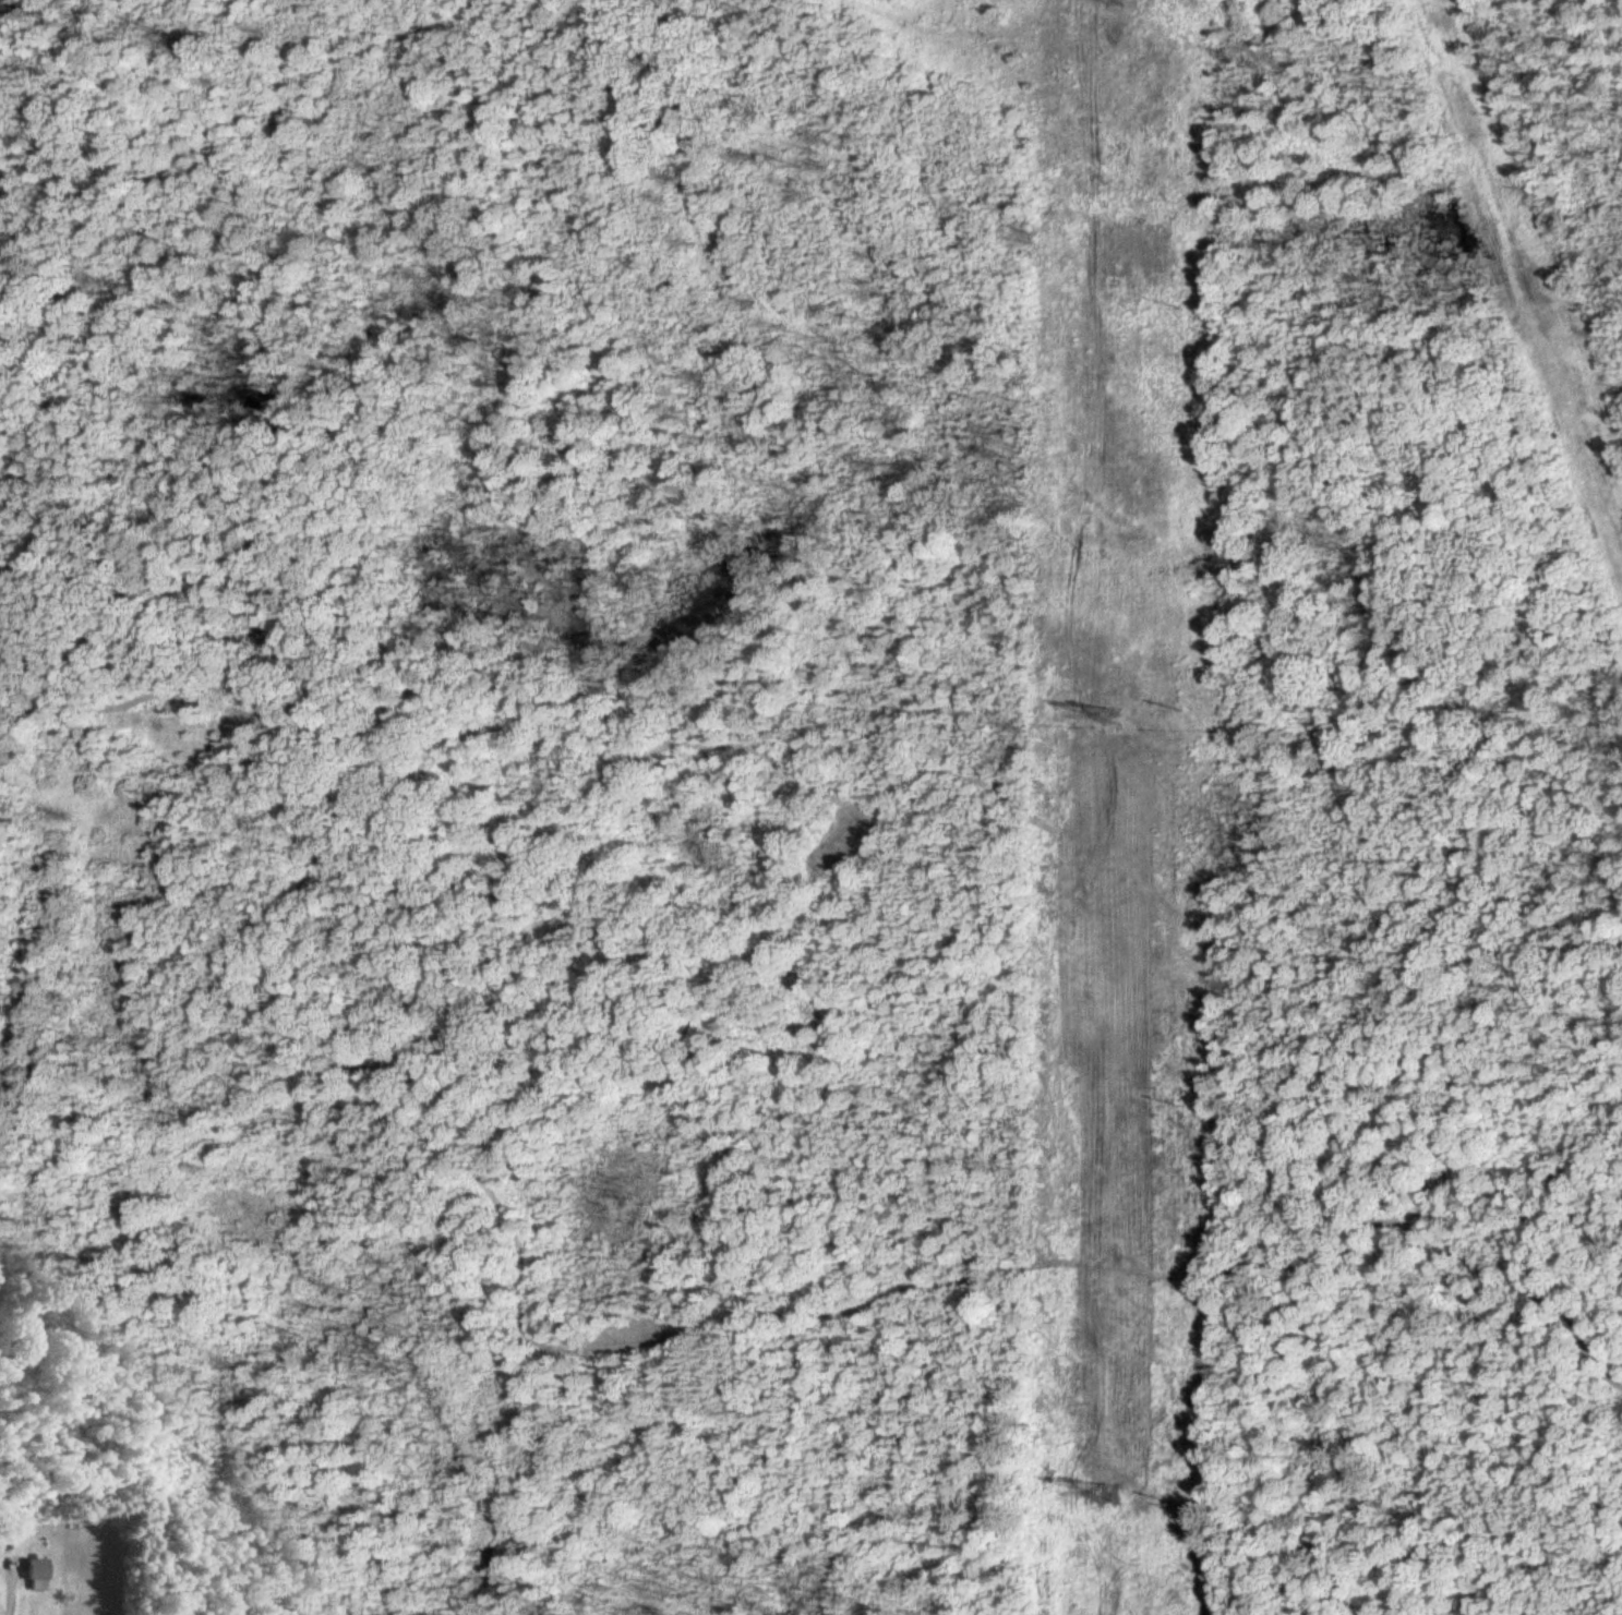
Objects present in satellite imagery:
power tower: (1110, 714)
power tower: (1112, 1493)
building: (40, 1567)

